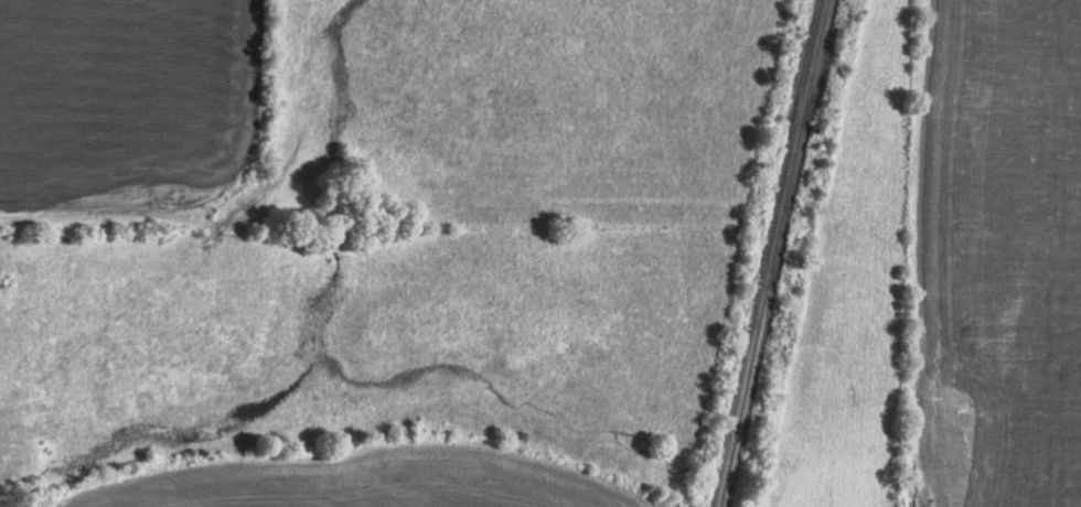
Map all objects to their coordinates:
railway: (772, 253)

